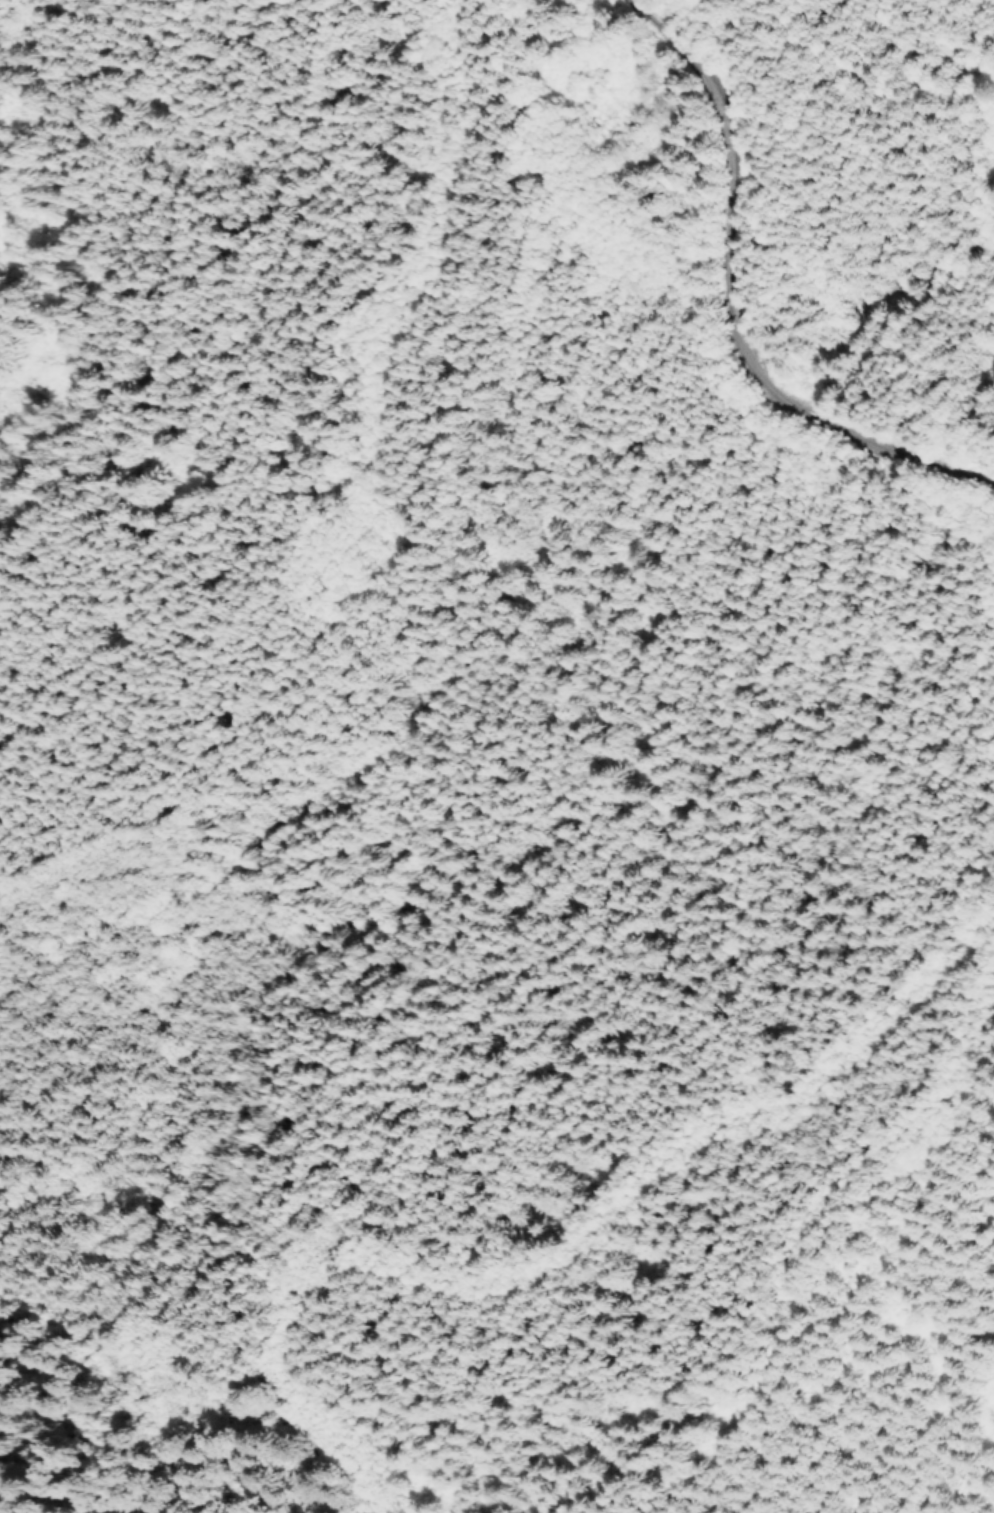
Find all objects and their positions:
road: (727, 302)
road: (597, 1190)

